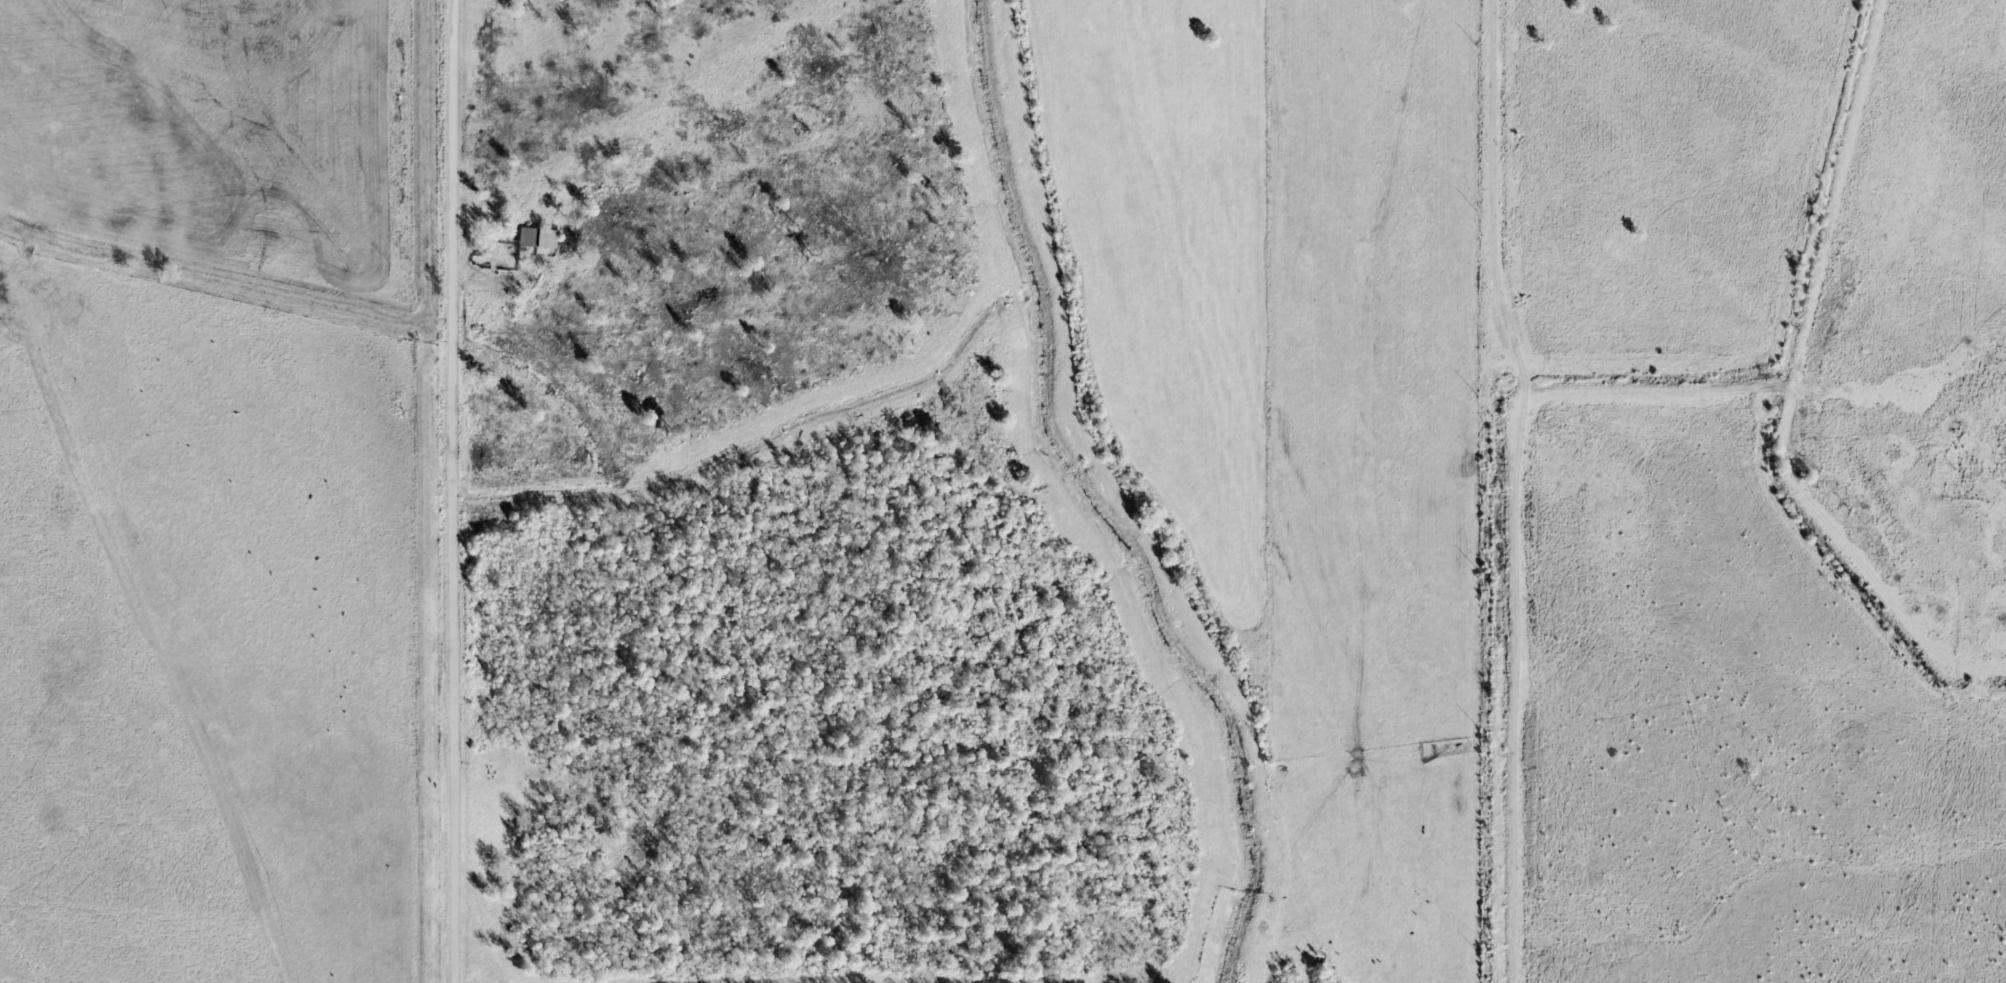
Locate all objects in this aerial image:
road: (1504, 195)
building: (536, 238)
road: (450, 491)

